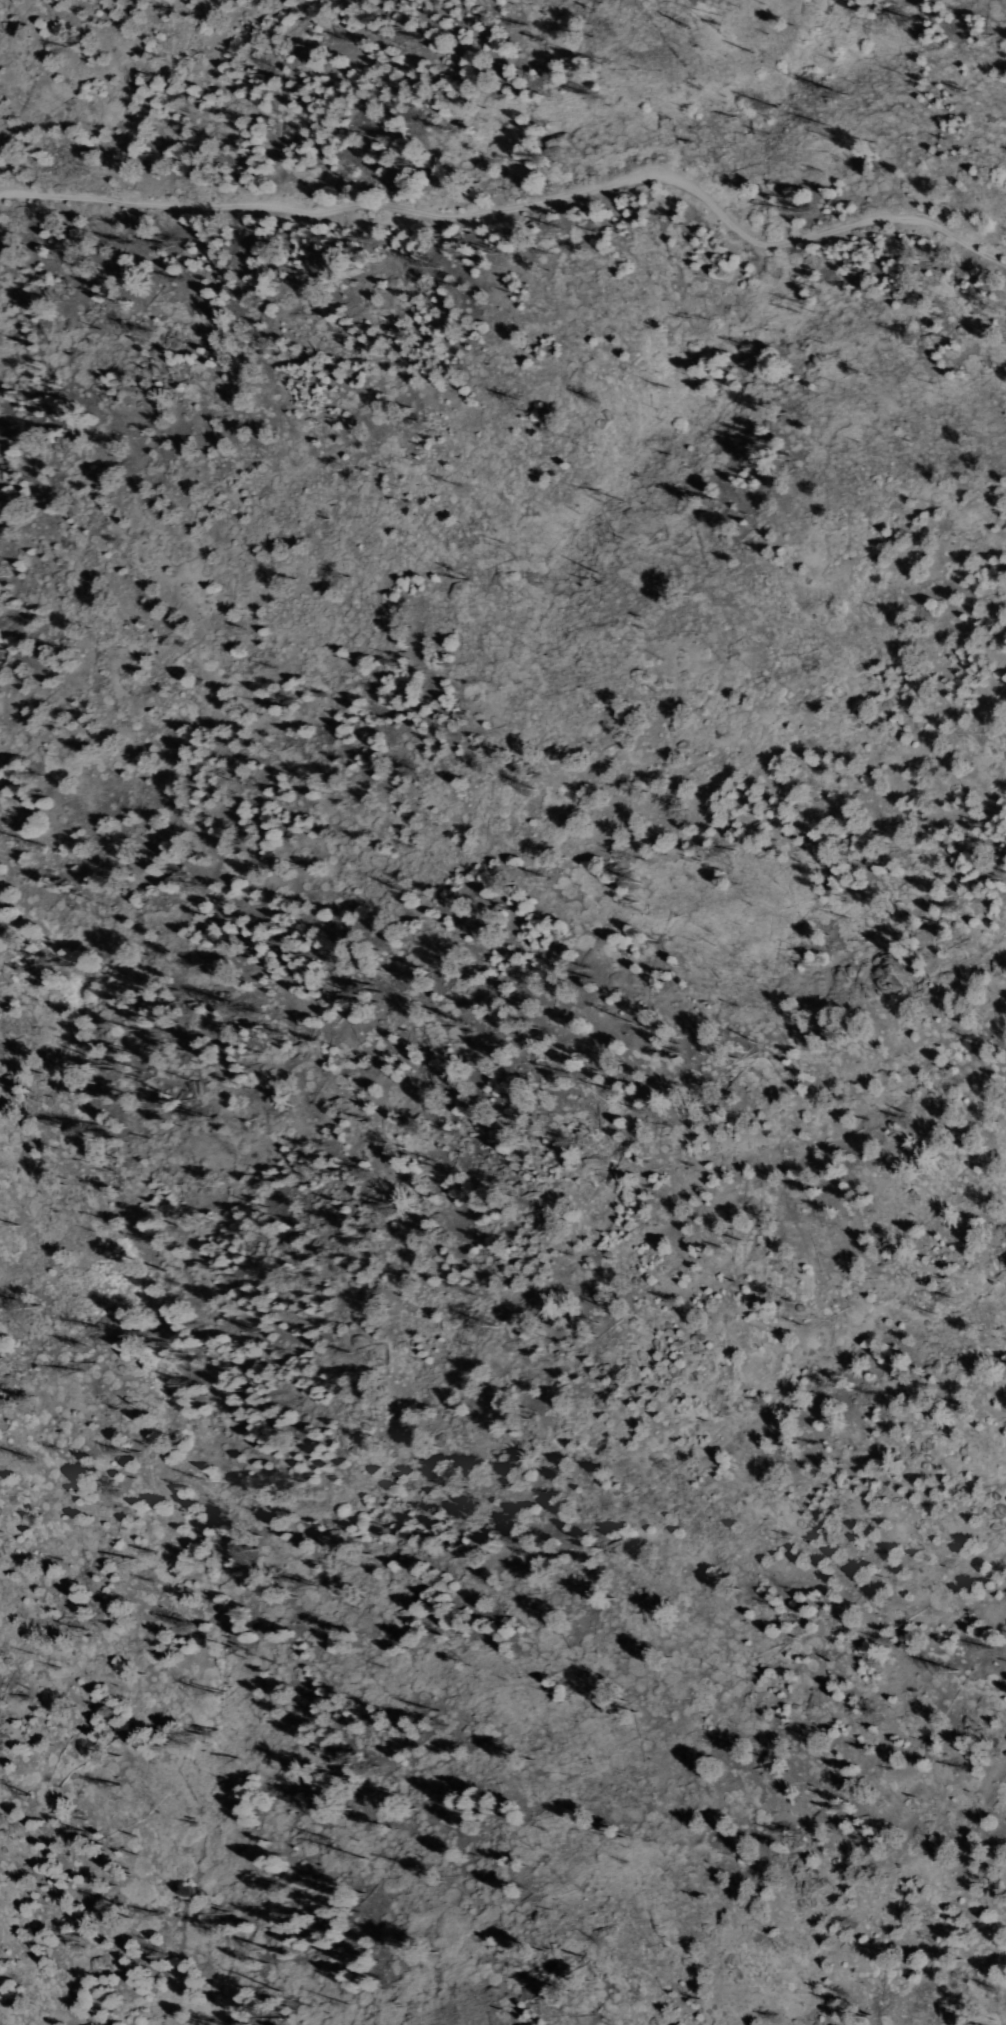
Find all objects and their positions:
road: (518, 192)

